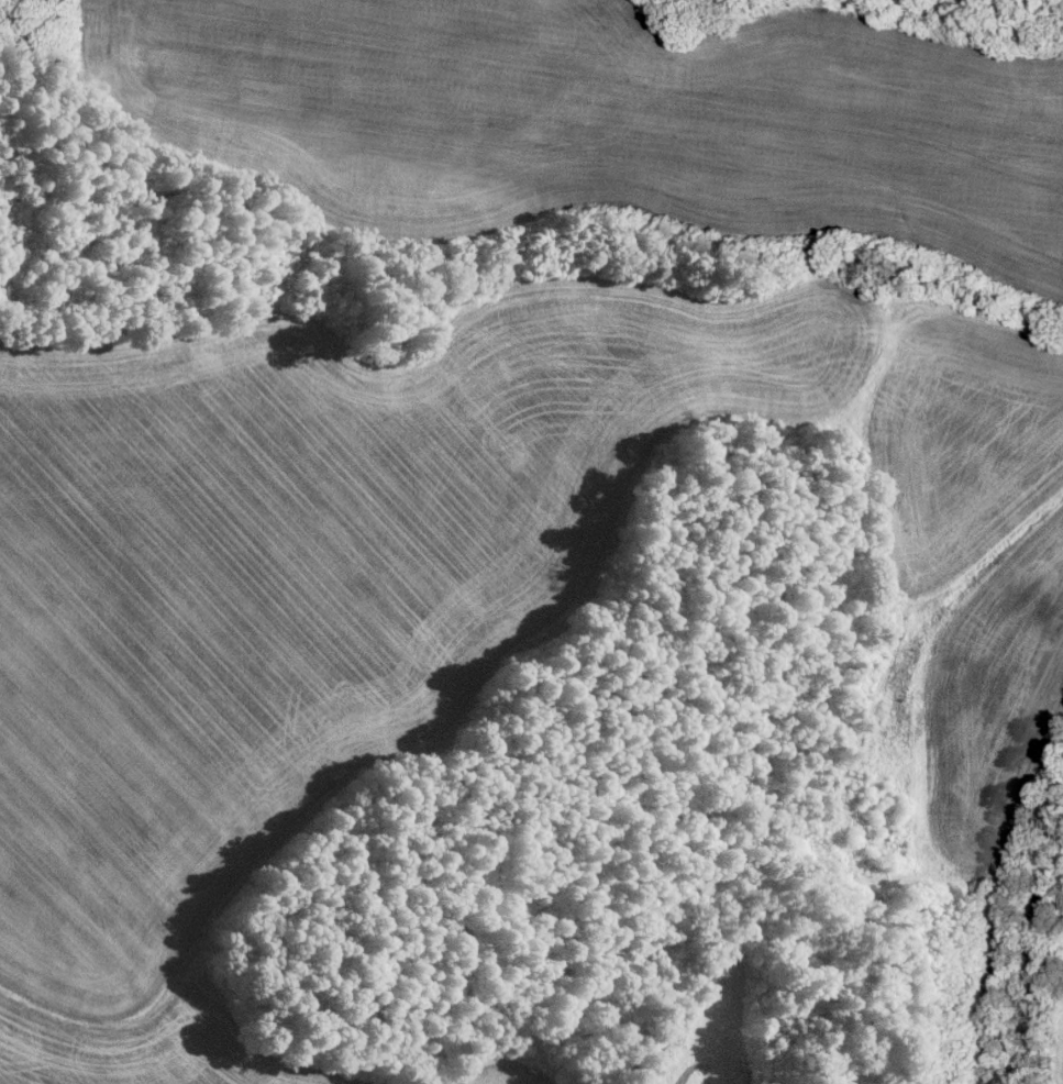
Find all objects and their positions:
crop: (602, 122)
crop: (478, 612)
road: (1000, 909)
crop: (716, 1024)

